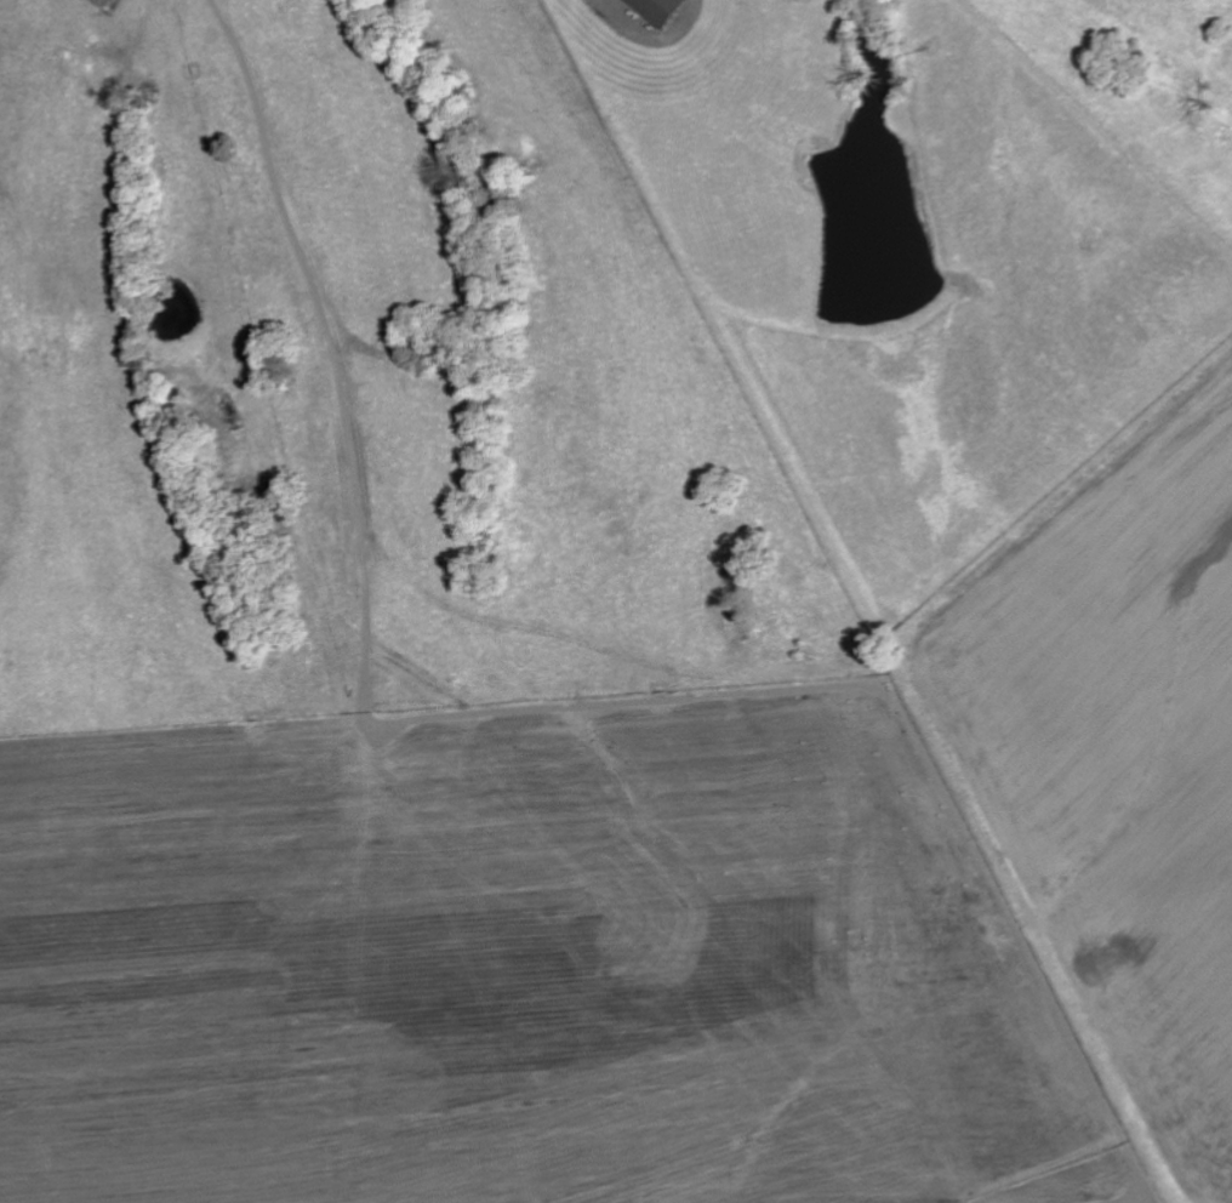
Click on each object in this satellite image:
building: (655, 10)

